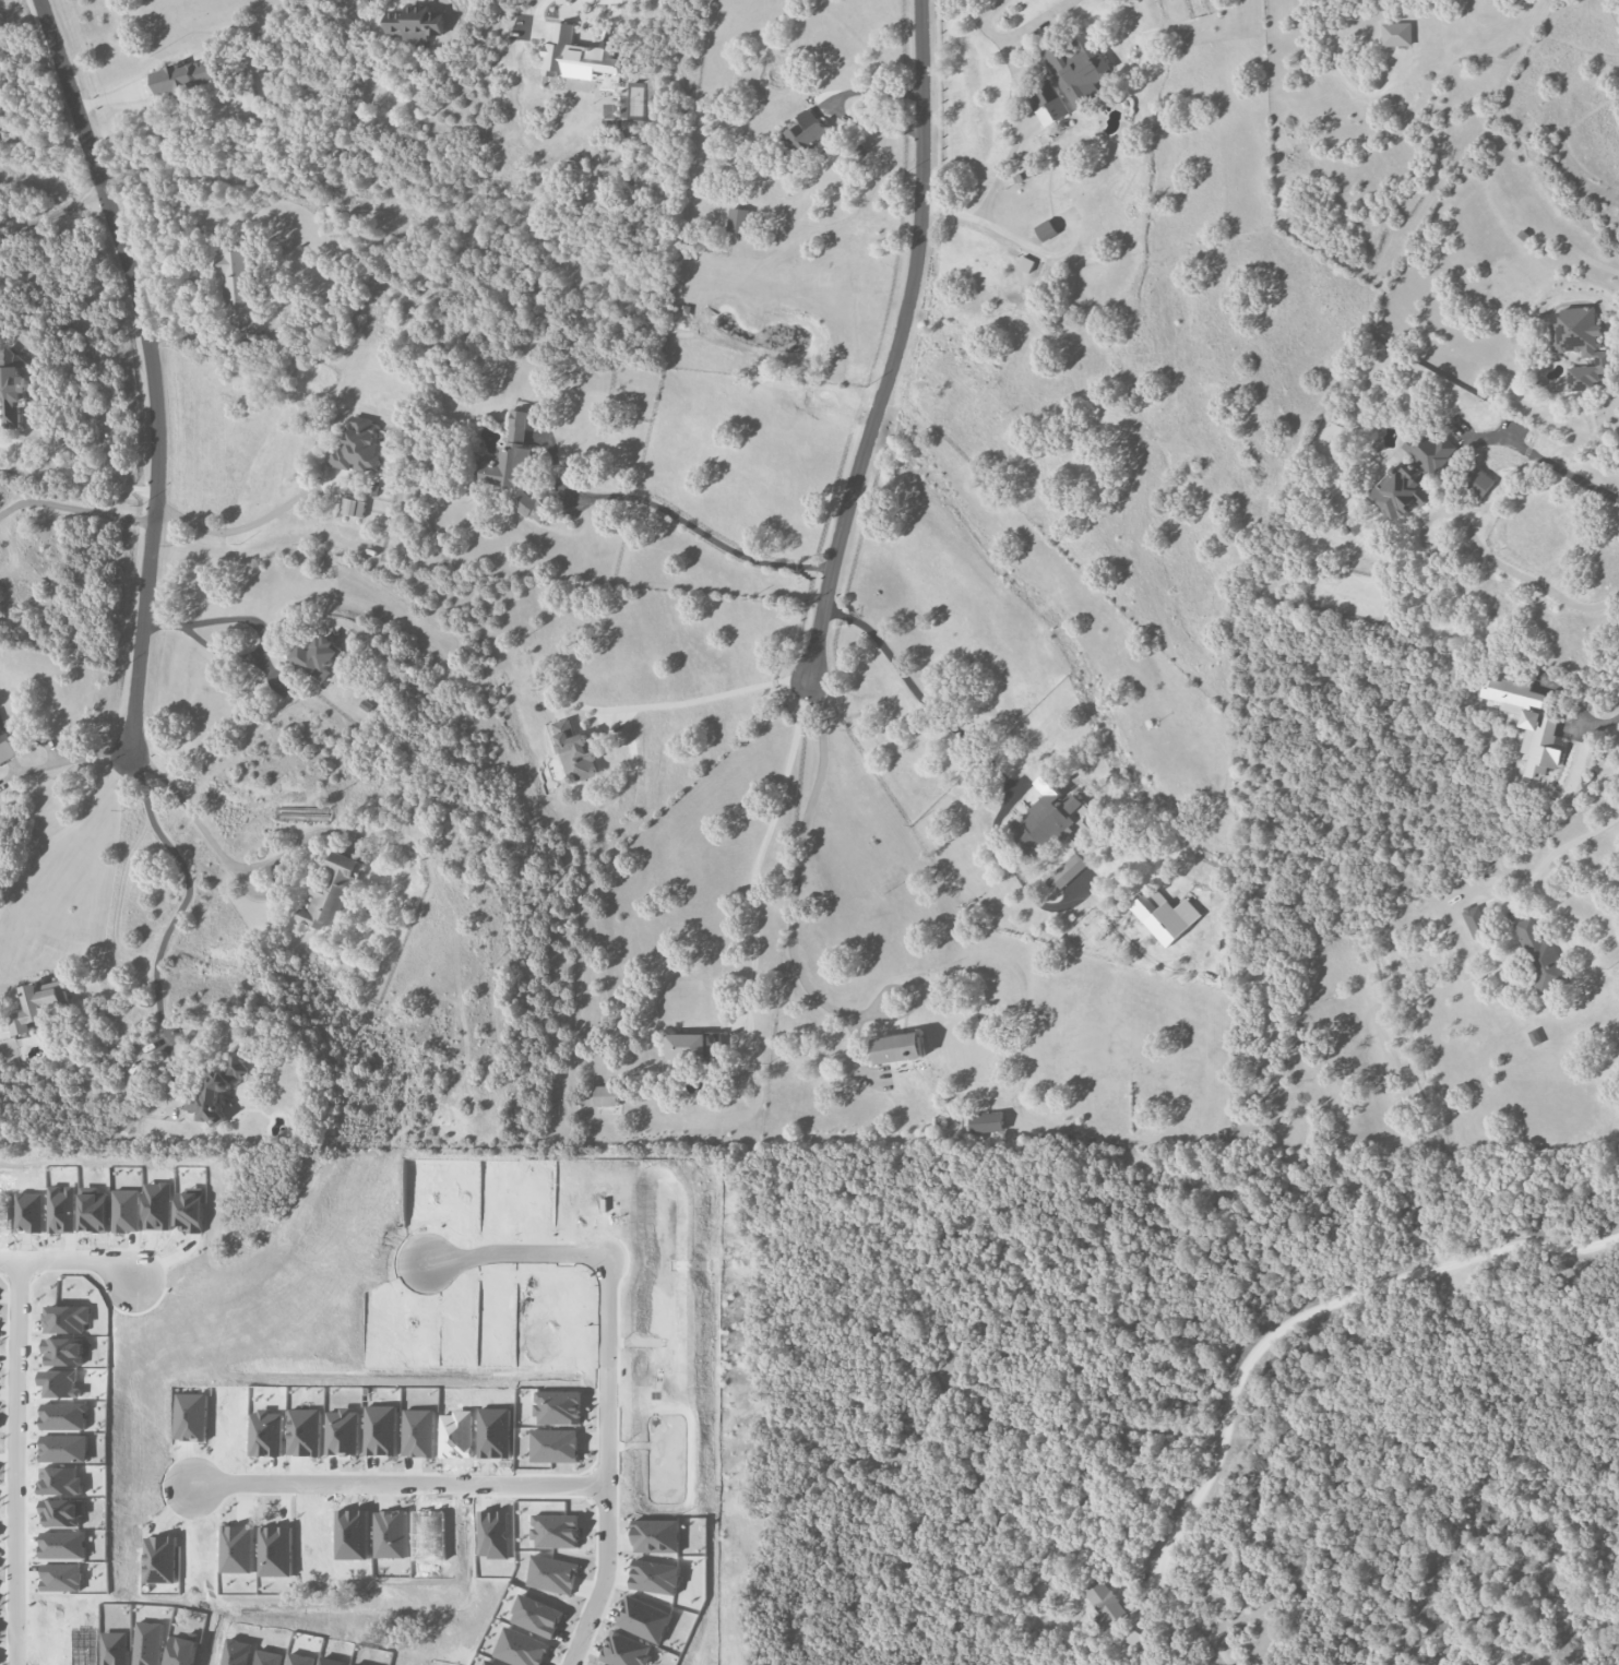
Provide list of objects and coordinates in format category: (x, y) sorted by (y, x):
road: (986, 9)
road: (1037, 22)
building: (415, 23)
building: (1396, 34)
building: (575, 56)
building: (1078, 69)
building: (184, 76)
building: (1046, 103)
road: (835, 107)
road: (1010, 107)
building: (805, 132)
road: (51, 214)
building: (738, 219)
building: (1046, 230)
road: (1011, 236)
building: (1025, 264)
building: (235, 284)
road: (898, 344)
building: (1580, 344)
road: (154, 368)
building: (12, 386)
building: (1326, 438)
building: (356, 447)
building: (509, 454)
road: (1546, 461)
road: (72, 474)
building: (1410, 475)
building: (1477, 481)
building: (531, 506)
building: (352, 507)
road: (73, 508)
road: (235, 527)
road: (1422, 528)
road: (701, 533)
road: (1540, 584)
road: (255, 623)
building: (317, 656)
road: (712, 698)
building: (1527, 722)
road: (1595, 727)
building: (5, 746)
building: (574, 751)
road: (78, 754)
building: (1047, 816)
road: (67, 824)
road: (1553, 849)
road: (757, 857)
road: (229, 866)
building: (1069, 871)
road: (793, 892)
building: (330, 893)
road: (175, 914)
building: (1159, 916)
building: (1475, 920)
building: (1538, 954)
building: (36, 1004)
building: (691, 1045)
building: (897, 1047)
building: (218, 1087)
building: (607, 1093)
building: (986, 1122)
road: (71, 1259)
road: (1312, 1312)
road: (616, 1384)
road: (23, 1462)
road: (408, 1489)
building: (1104, 1601)
building: (1134, 1638)

